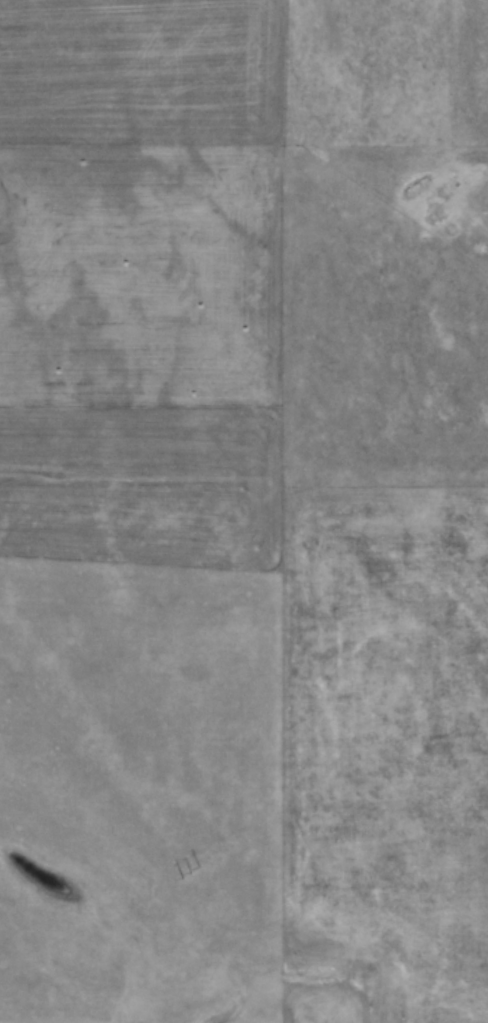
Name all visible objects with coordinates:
power tower: (189, 873)

